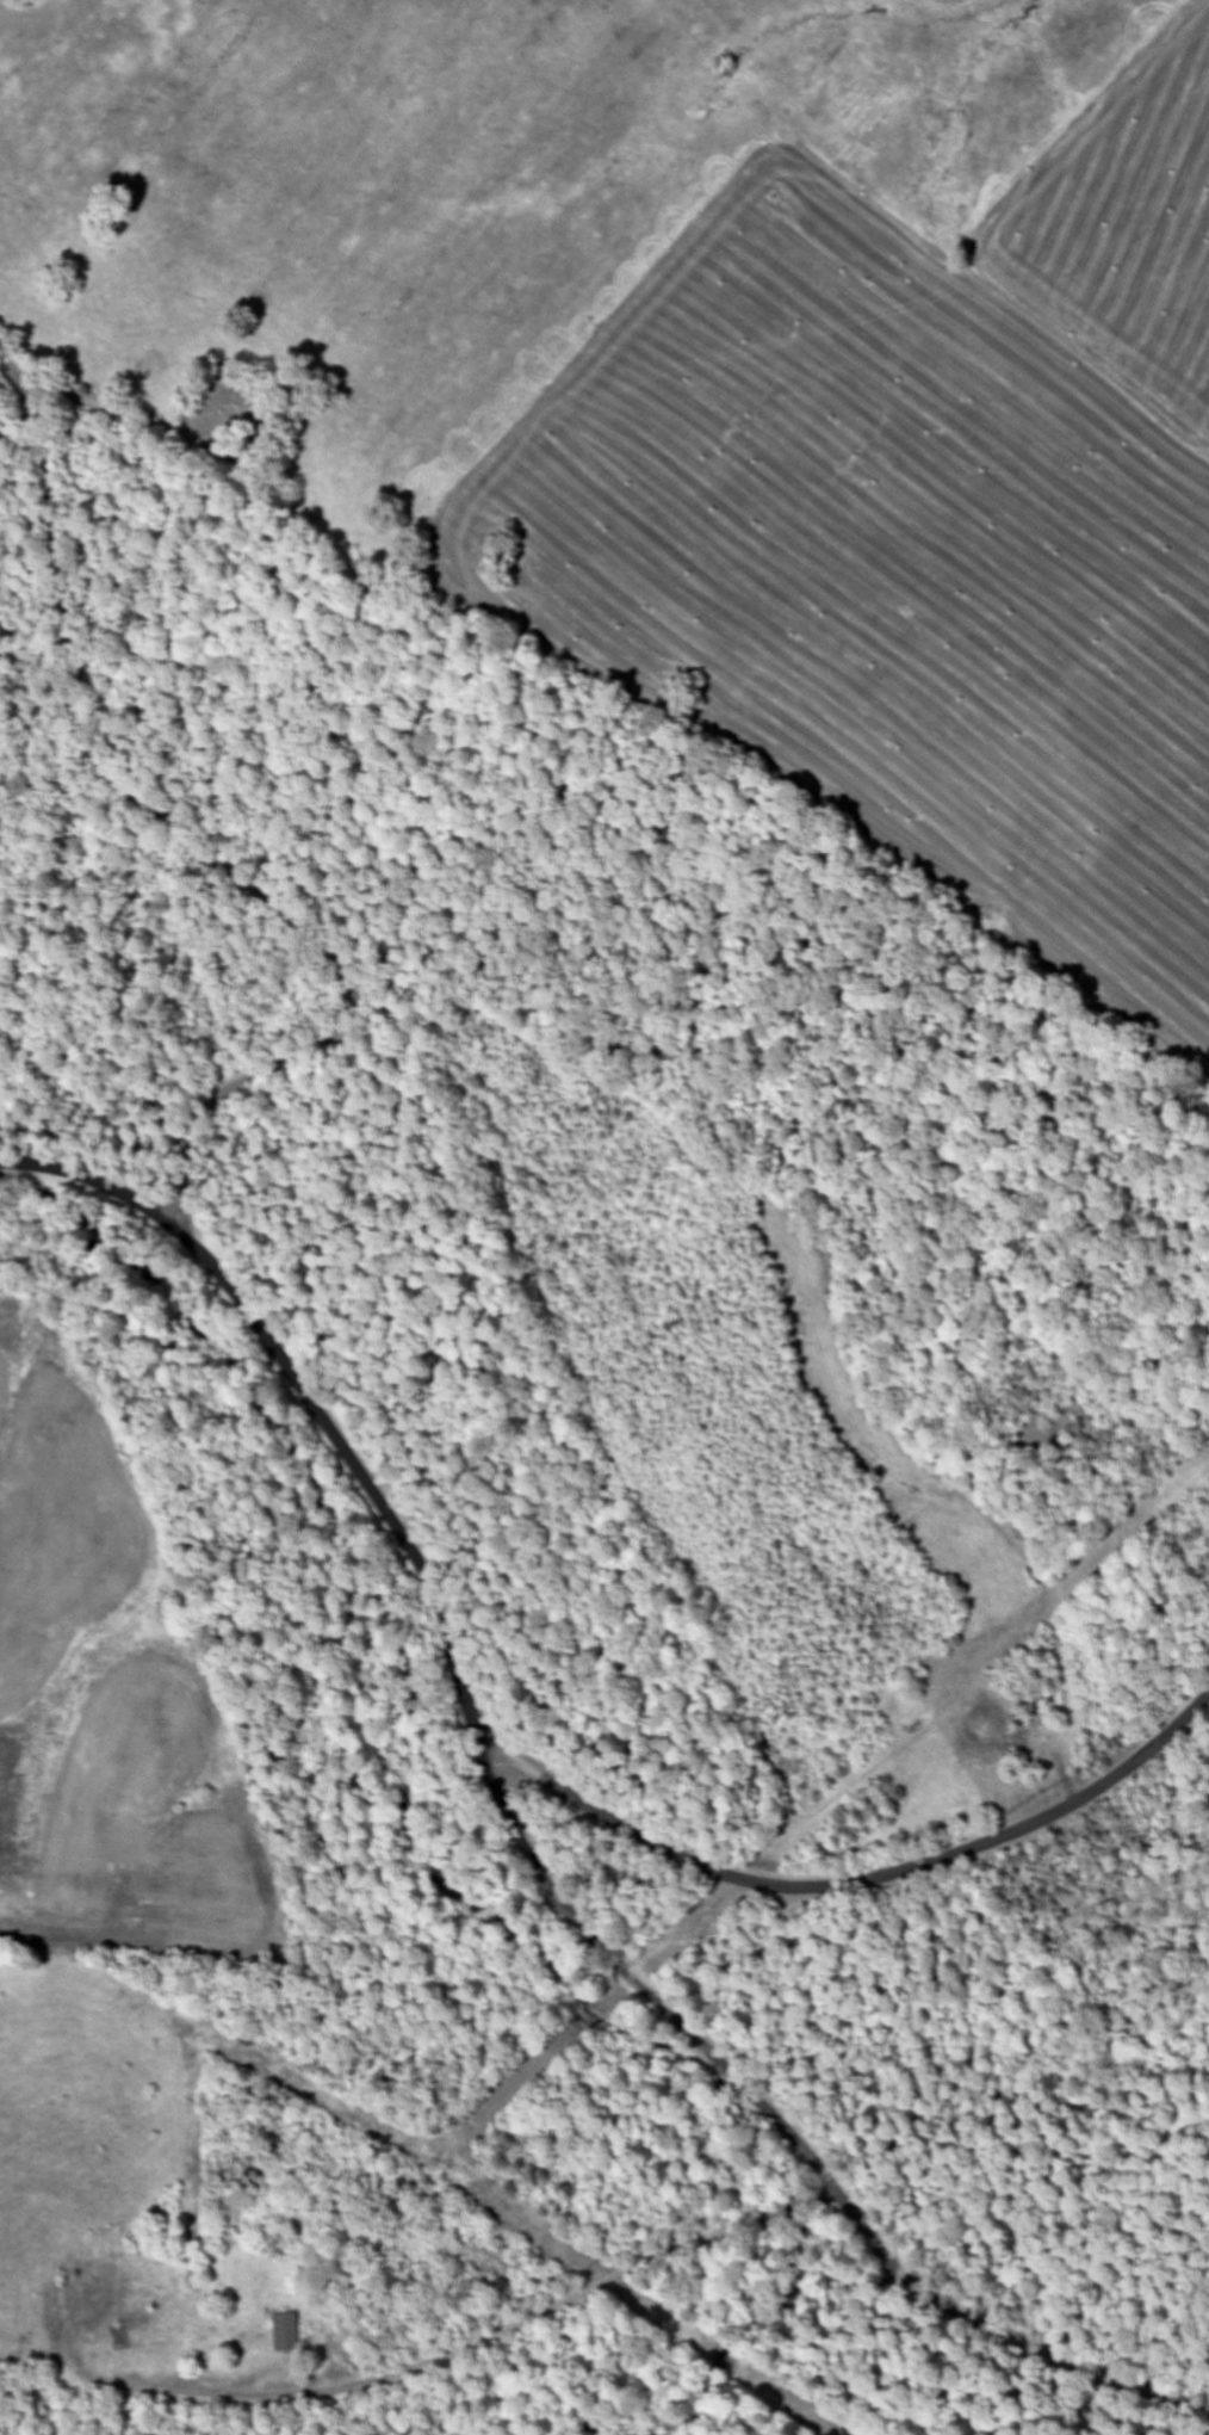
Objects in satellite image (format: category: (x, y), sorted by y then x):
road: (990, 290)
park: (242, 410)
road: (122, 413)
road: (192, 845)
road: (540, 1840)
road: (856, 1883)
road: (731, 2224)
building: (287, 2332)

